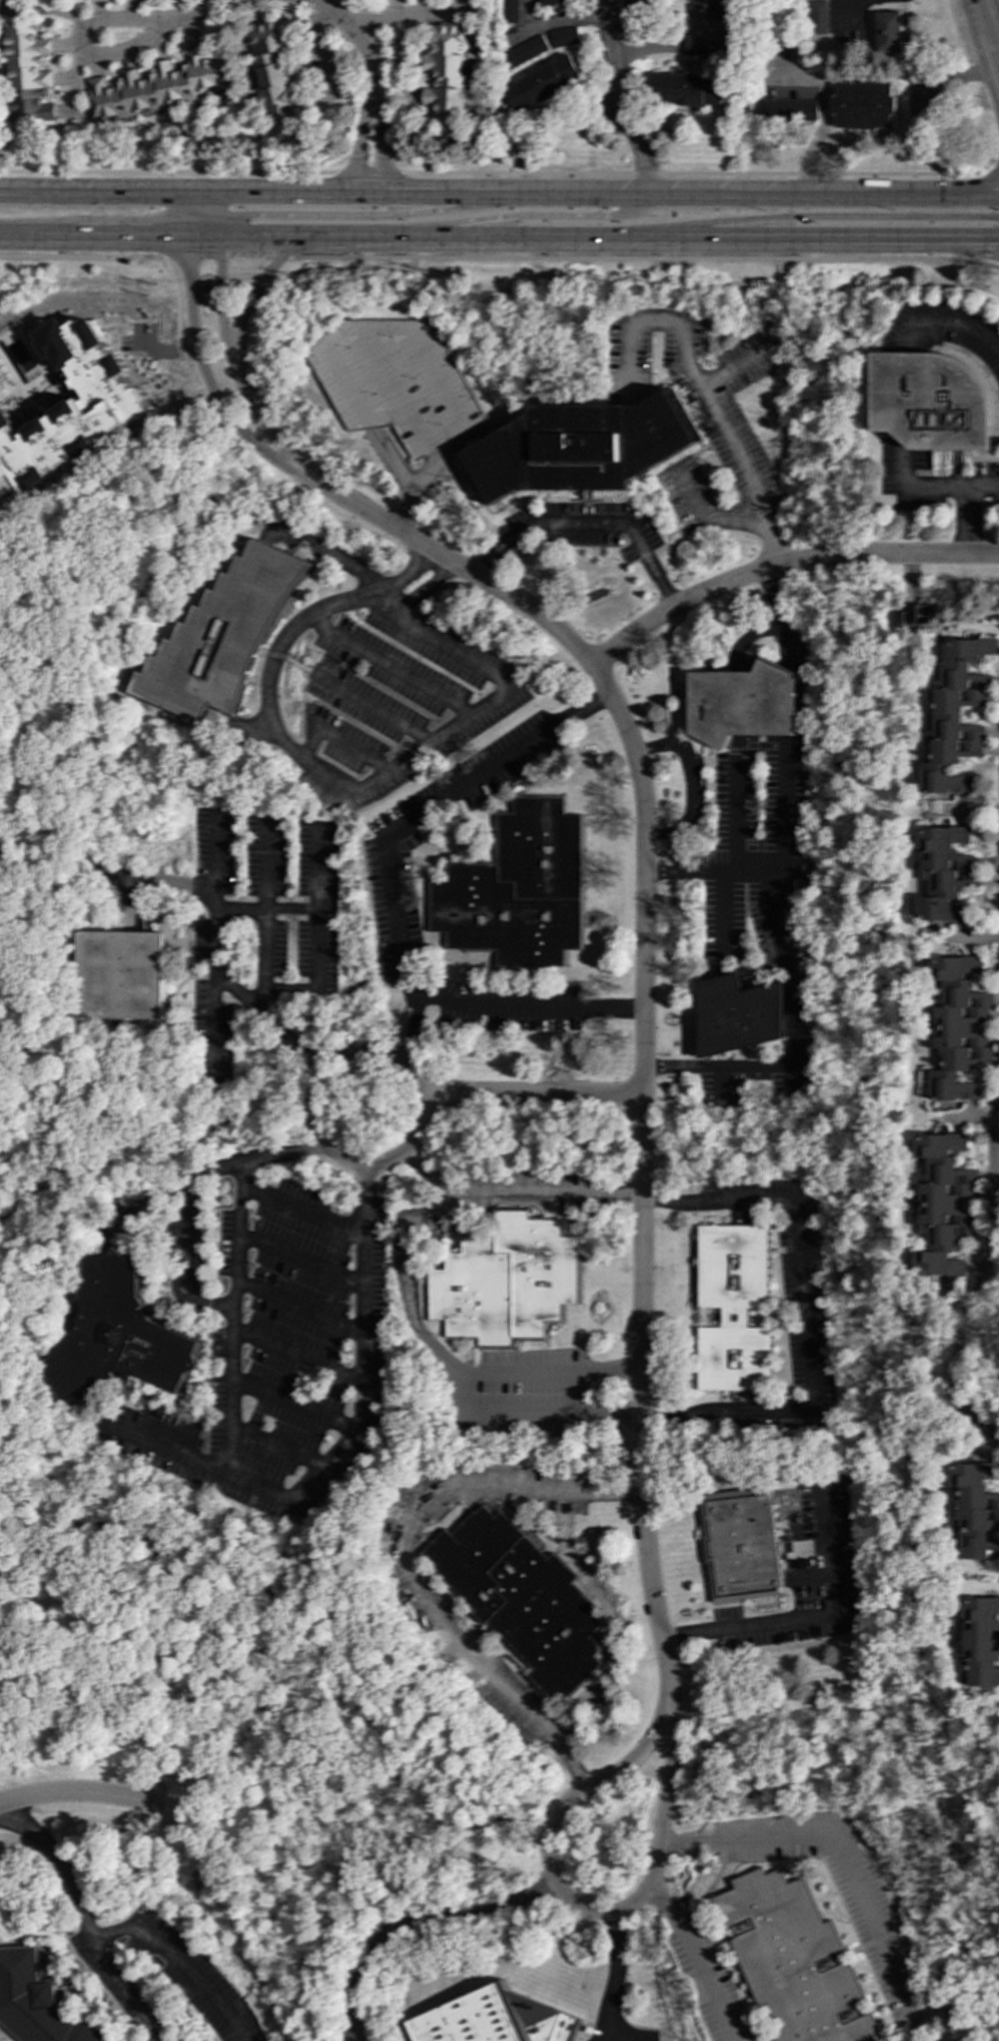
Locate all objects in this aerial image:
building: (551, 2)
building: (644, 5)
road: (984, 9)
building: (723, 10)
building: (508, 11)
road: (190, 15)
road: (392, 16)
building: (817, 17)
road: (90, 23)
road: (554, 27)
road: (348, 31)
building: (889, 32)
road: (993, 34)
building: (563, 37)
road: (667, 42)
building: (705, 49)
building: (524, 51)
road: (980, 58)
building: (272, 68)
building: (446, 71)
building: (27, 74)
building: (541, 84)
building: (157, 87)
building: (688, 90)
road: (617, 98)
building: (864, 105)
building: (785, 111)
road: (383, 135)
road: (359, 136)
road: (820, 138)
road: (993, 163)
road: (168, 173)
road: (368, 173)
road: (695, 173)
road: (986, 186)
road: (100, 193)
road: (599, 195)
road: (209, 205)
road: (153, 214)
road: (388, 215)
road: (521, 216)
road: (815, 216)
traffic signals: (998, 217)
road: (199, 221)
road: (218, 226)
road: (93, 236)
road: (202, 236)
road: (608, 236)
road: (855, 248)
road: (80, 256)
road: (224, 257)
road: (643, 258)
road: (256, 291)
road: (219, 297)
road: (949, 321)
road: (176, 328)
road: (357, 330)
road: (165, 352)
building: (385, 368)
road: (734, 369)
road: (204, 376)
road: (706, 398)
building: (930, 400)
building: (71, 407)
road: (258, 419)
building: (581, 447)
road: (980, 486)
road: (950, 487)
road: (715, 520)
road: (588, 526)
road: (451, 563)
road: (782, 566)
road: (404, 575)
road: (425, 592)
road: (776, 613)
building: (925, 614)
building: (219, 639)
building: (742, 703)
building: (955, 716)
road: (692, 782)
road: (366, 788)
road: (784, 817)
road: (400, 827)
road: (737, 861)
road: (321, 872)
building: (942, 873)
building: (519, 890)
road: (267, 908)
road: (726, 909)
road: (320, 935)
road: (215, 972)
building: (122, 975)
road: (526, 1010)
building: (737, 1015)
road: (214, 1019)
building: (956, 1027)
road: (792, 1029)
road: (537, 1095)
road: (312, 1116)
road: (642, 1172)
road: (514, 1197)
building: (942, 1205)
road: (186, 1235)
road: (239, 1277)
building: (505, 1281)
road: (983, 1284)
building: (734, 1308)
road: (804, 1317)
building: (118, 1337)
road: (446, 1359)
road: (526, 1417)
road: (351, 1433)
building: (974, 1510)
building: (740, 1548)
road: (396, 1560)
building: (521, 1599)
road: (808, 1620)
road: (79, 1795)
road: (844, 1857)
road: (62, 1867)
road: (577, 1907)
road: (412, 1919)
road: (696, 1958)
road: (176, 1961)
building: (793, 1961)
road: (615, 1976)
road: (123, 1990)
building: (37, 2003)
building: (493, 2020)

